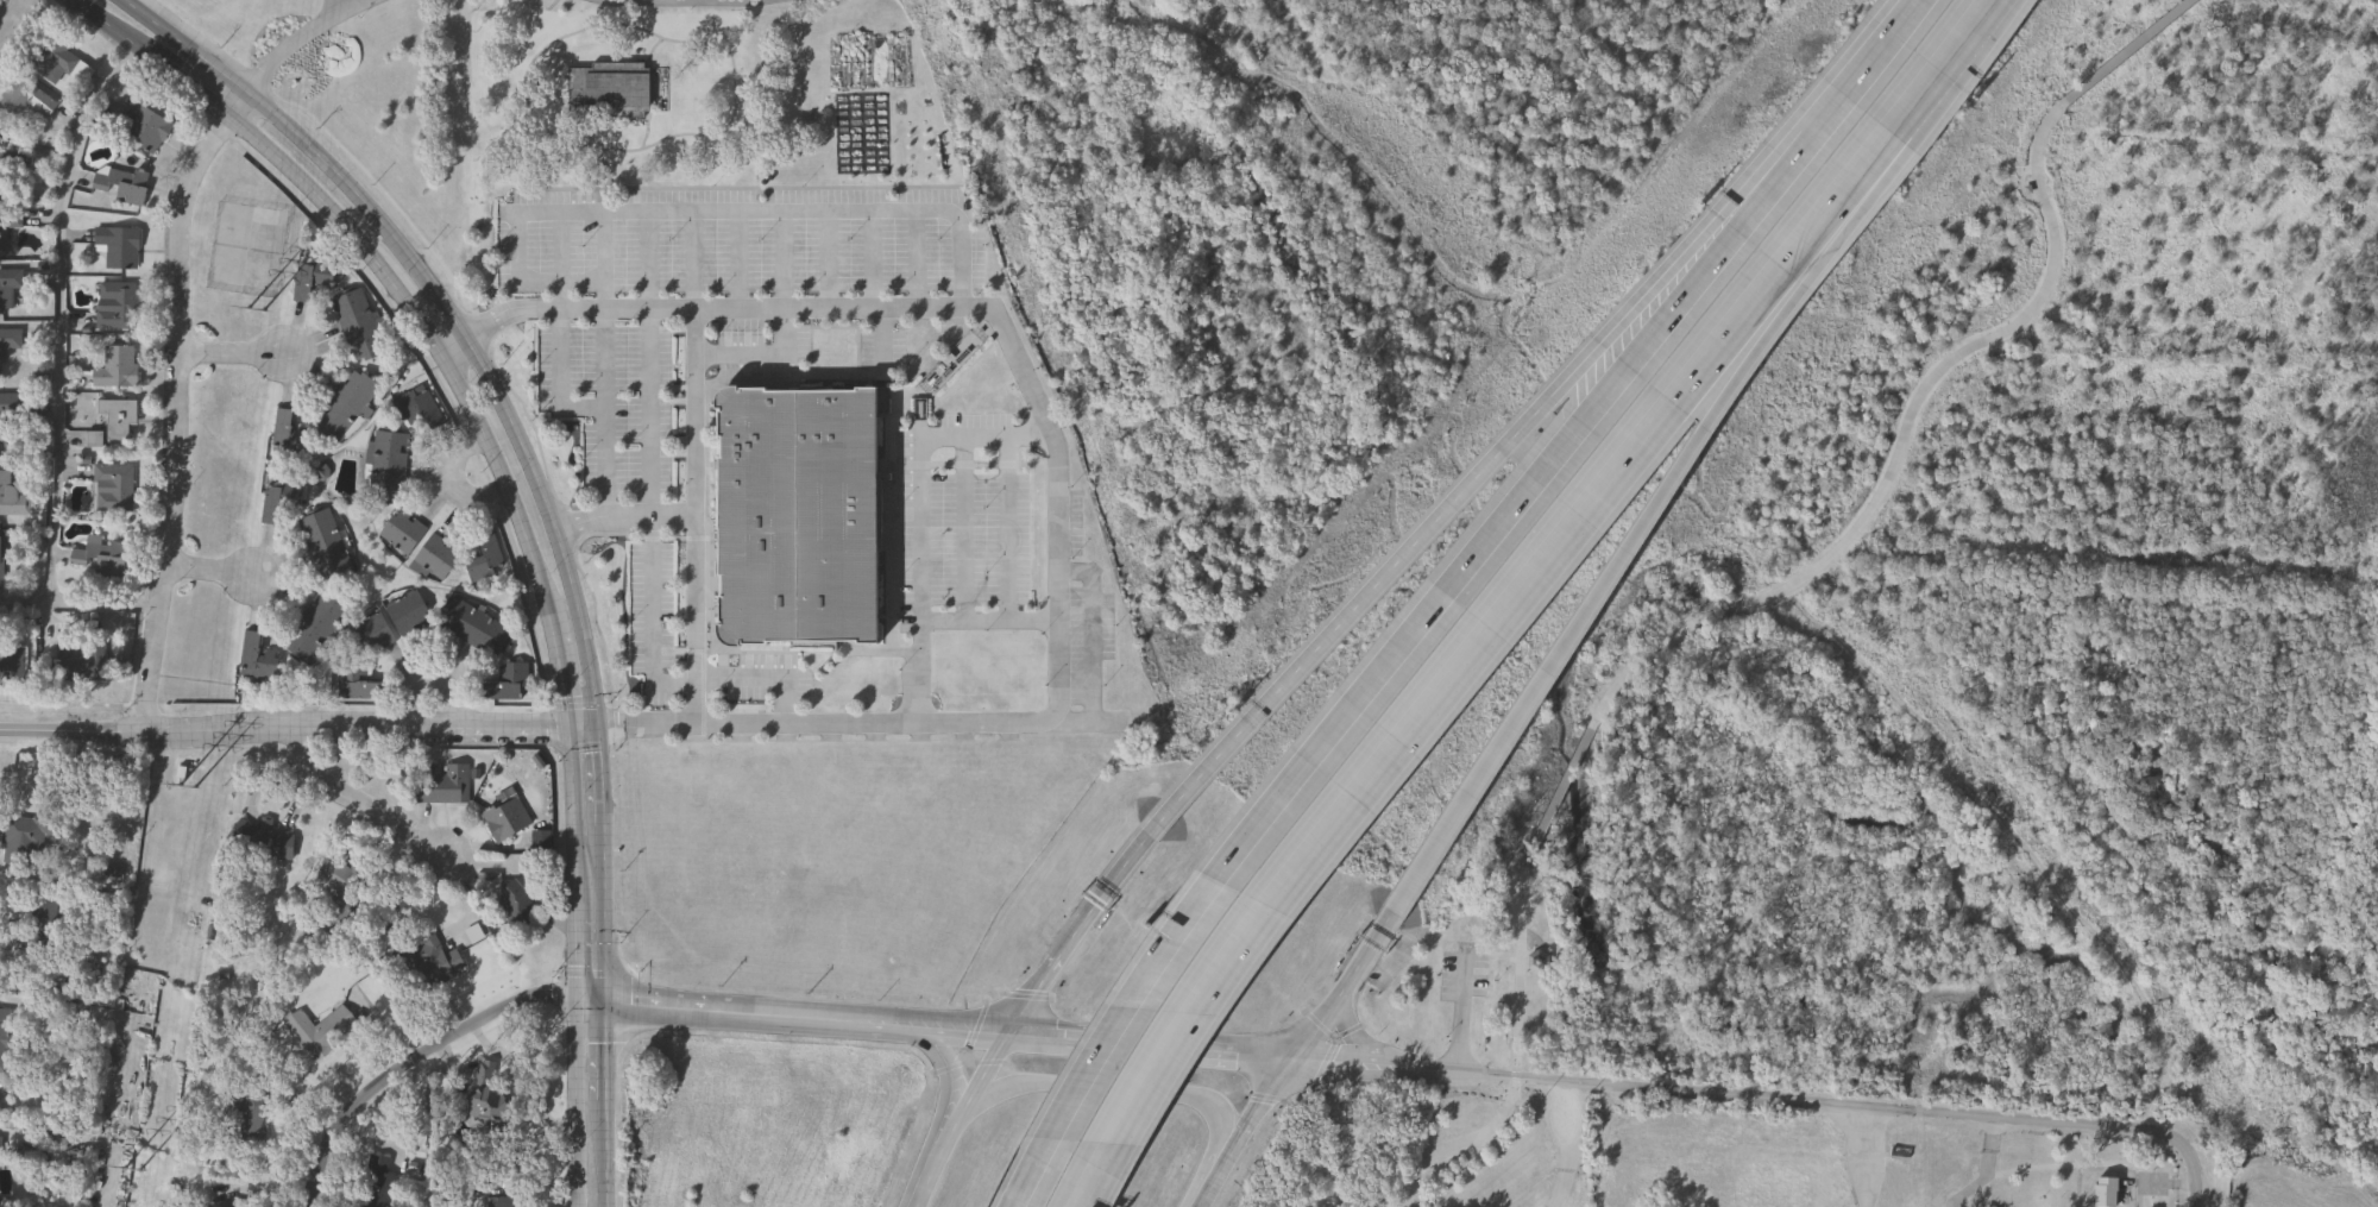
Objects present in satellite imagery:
park: (685, 5)
road: (669, 7)
road: (1987, 12)
road: (13, 18)
road: (1921, 20)
road: (637, 27)
road: (111, 29)
road: (303, 37)
road: (200, 43)
building: (54, 56)
road: (189, 88)
building: (610, 92)
building: (25, 100)
park: (364, 100)
road: (239, 107)
building: (145, 127)
building: (12, 172)
building: (125, 183)
road: (303, 186)
road: (829, 210)
road: (534, 212)
building: (8, 224)
building: (119, 246)
building: (313, 278)
building: (10, 287)
road: (409, 302)
building: (119, 304)
road: (446, 308)
power tower: (253, 314)
building: (359, 326)
road: (885, 335)
building: (11, 340)
road: (759, 346)
road: (235, 358)
building: (119, 366)
road: (57, 369)
building: (347, 406)
building: (13, 408)
building: (420, 408)
road: (606, 411)
road: (649, 411)
building: (117, 419)
road: (182, 420)
road: (1530, 429)
building: (289, 435)
road: (1058, 455)
building: (388, 467)
road: (1691, 470)
road: (507, 482)
road: (455, 484)
building: (114, 486)
building: (13, 492)
building: (277, 504)
building: (798, 511)
road: (624, 516)
road: (918, 516)
road: (696, 518)
building: (403, 532)
building: (328, 546)
building: (102, 555)
building: (2, 557)
building: (438, 557)
building: (486, 557)
road: (214, 574)
road: (1778, 595)
road: (1514, 604)
road: (1449, 609)
road: (989, 611)
building: (410, 612)
road: (650, 620)
building: (315, 628)
building: (478, 628)
building: (372, 633)
building: (257, 658)
building: (87, 667)
road: (772, 667)
road: (564, 677)
building: (507, 681)
building: (365, 690)
road: (301, 729)
traffic signals: (574, 731)
traffic signals: (602, 731)
road: (604, 777)
building: (443, 784)
power tower: (191, 790)
road: (357, 806)
road: (577, 818)
building: (509, 819)
building: (27, 838)
building: (264, 840)
building: (347, 881)
building: (517, 901)
road: (606, 913)
road: (1082, 929)
road: (580, 951)
building: (1540, 967)
road: (1346, 988)
traffic signals: (581, 997)
road: (594, 1000)
traffic signals: (608, 1004)
road: (748, 1017)
road: (1461, 1019)
building: (323, 1030)
building: (6, 1039)
road: (1090, 1045)
road: (1363, 1048)
road: (608, 1051)
road: (415, 1064)
road: (581, 1071)
road: (944, 1085)
road: (1111, 1086)
road: (1772, 1101)
building: (491, 1107)
road: (1253, 1114)
building: (251, 1115)
road: (957, 1120)
road: (1566, 1148)
road: (609, 1152)
power tower: (134, 1171)
road: (583, 1176)
building: (380, 1182)
road: (1203, 1187)
building: (2103, 1192)
building: (244, 1202)
building: (505, 1202)

